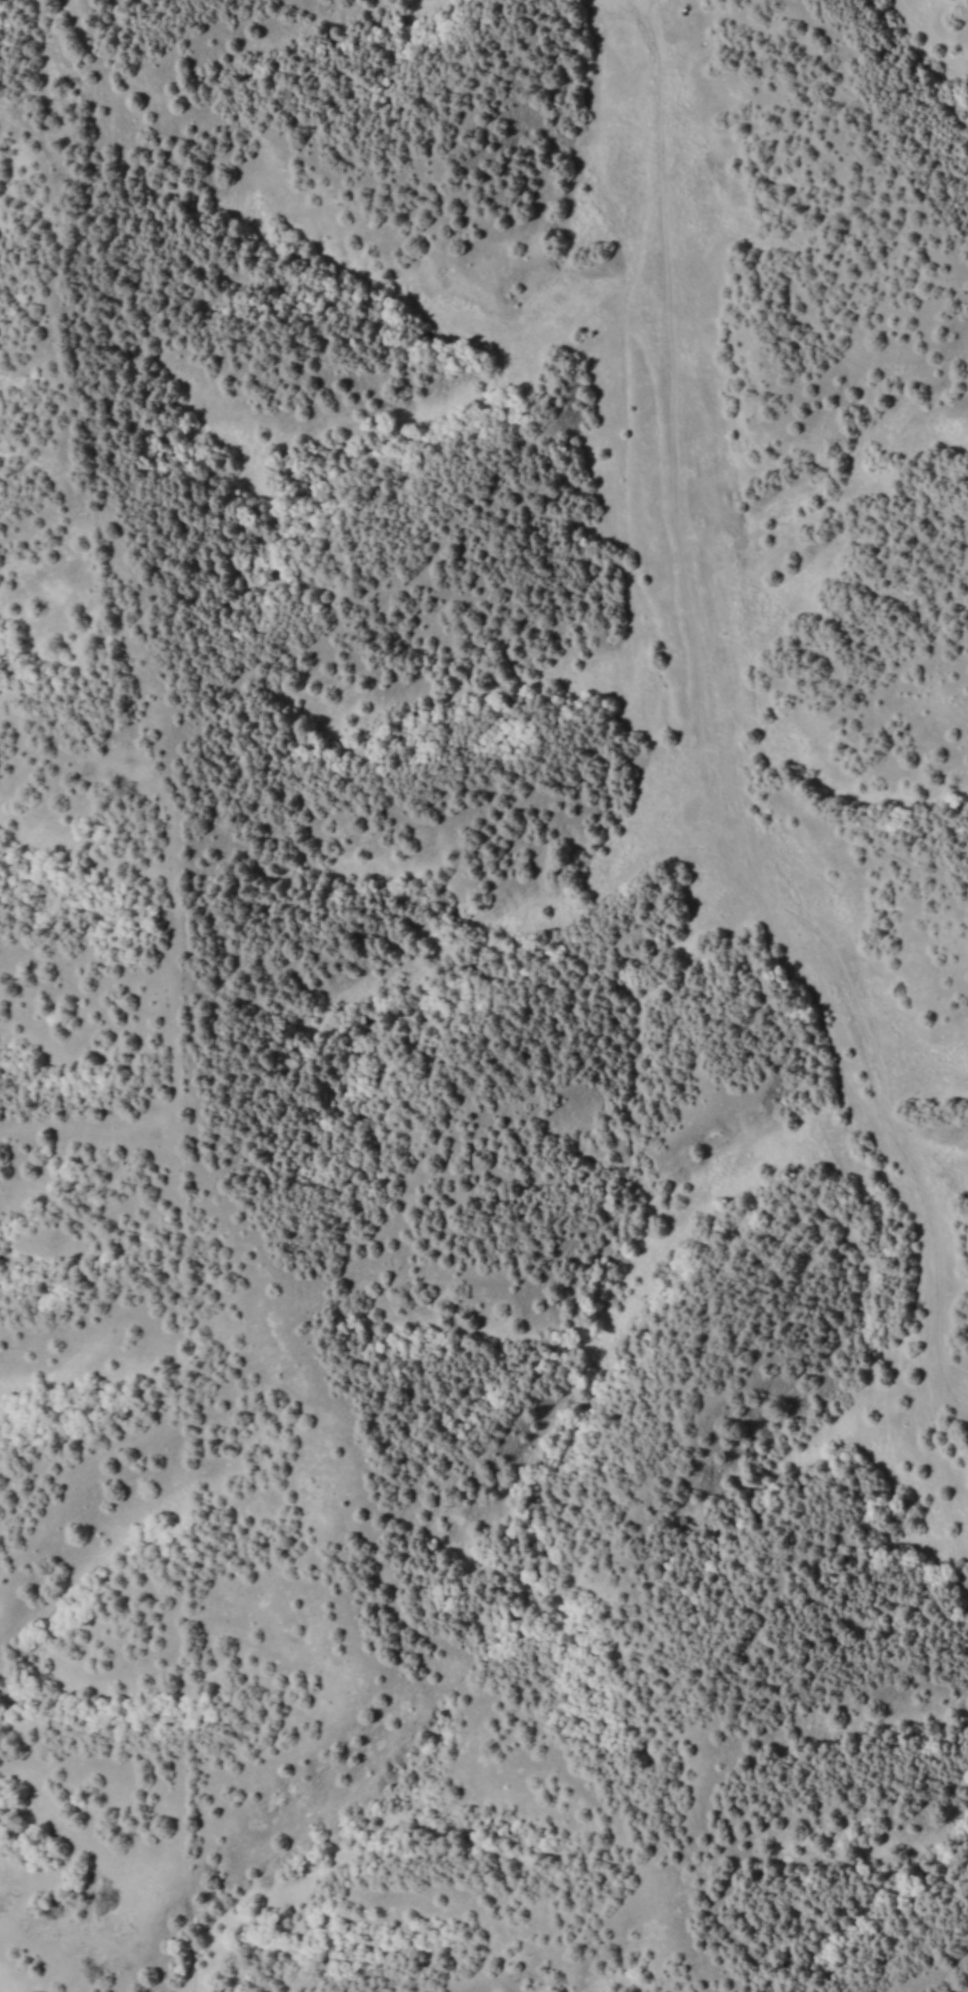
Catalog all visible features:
road: (702, 740)

